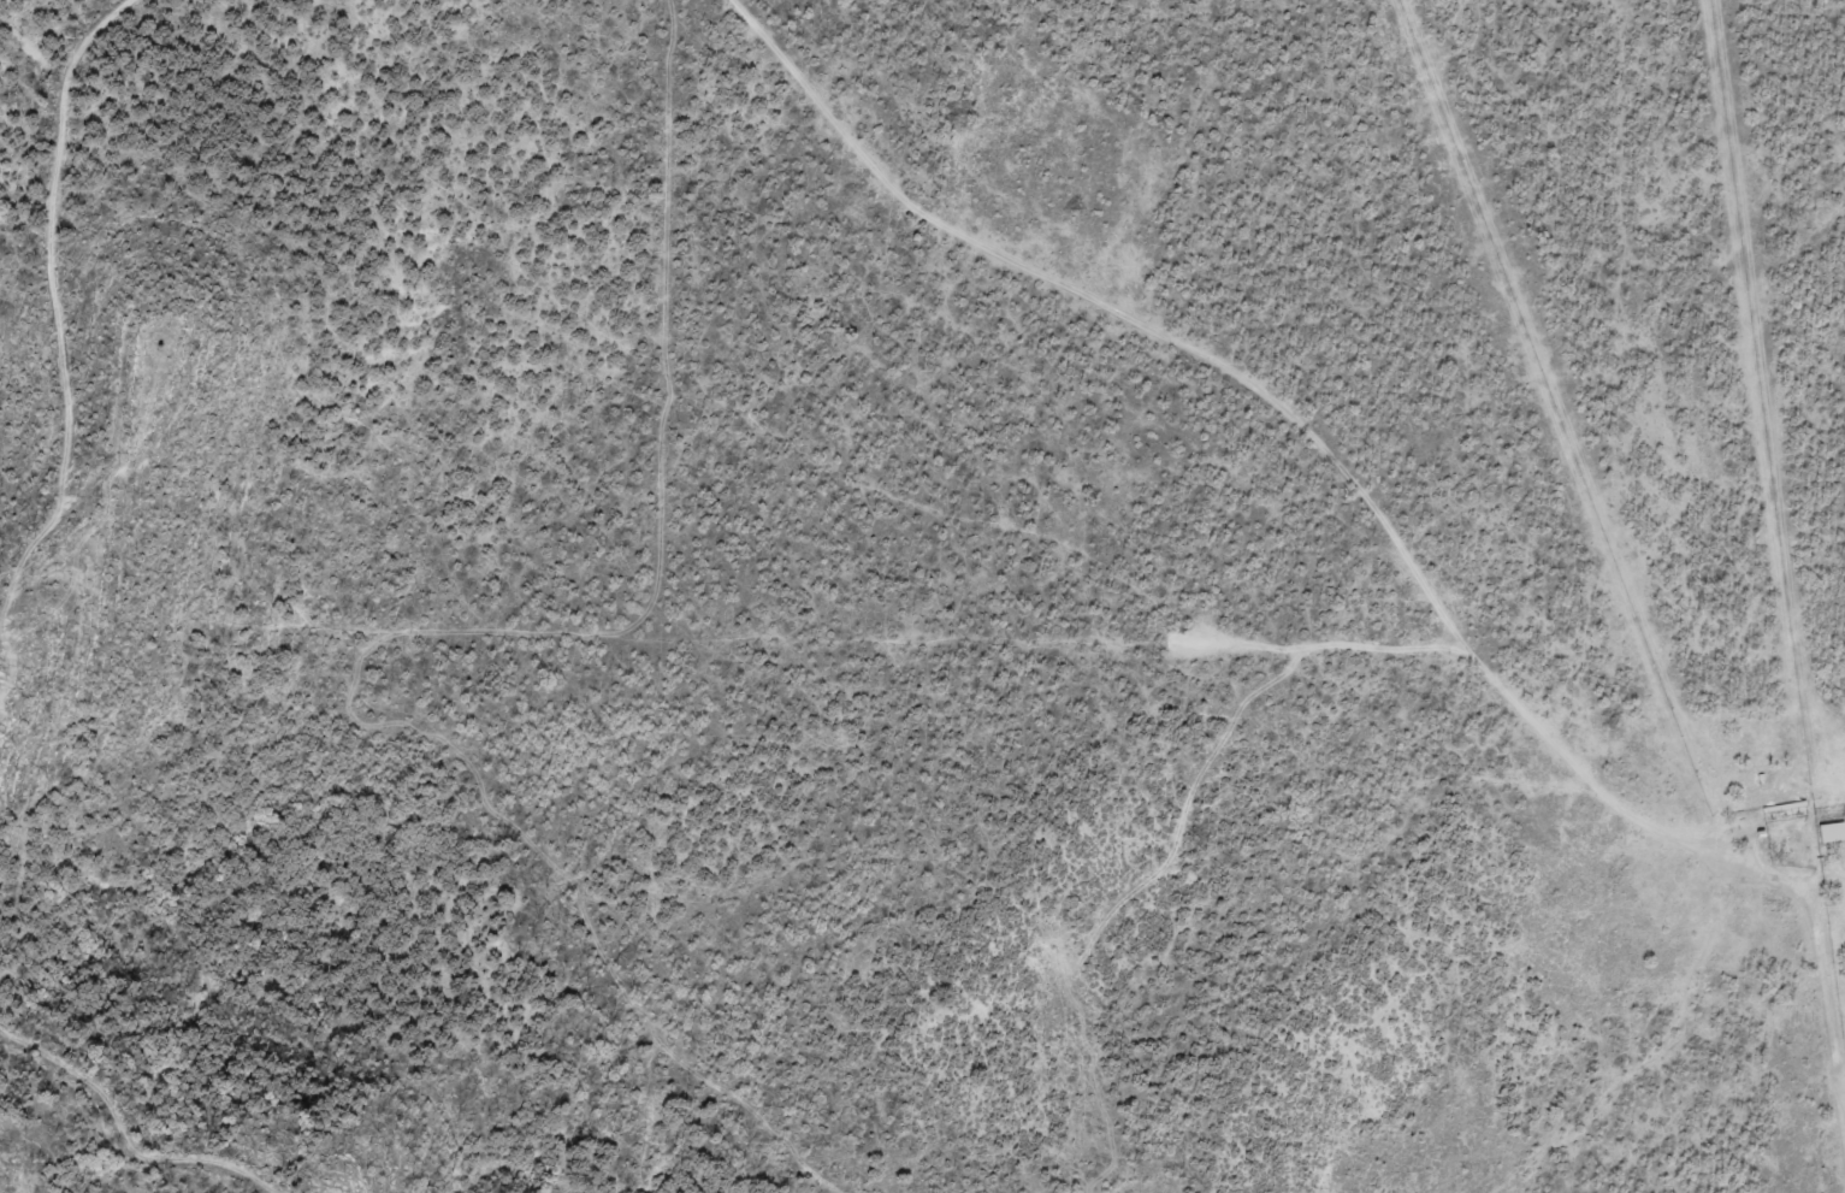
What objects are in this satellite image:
road: (1315, 420)
building: (1833, 832)

